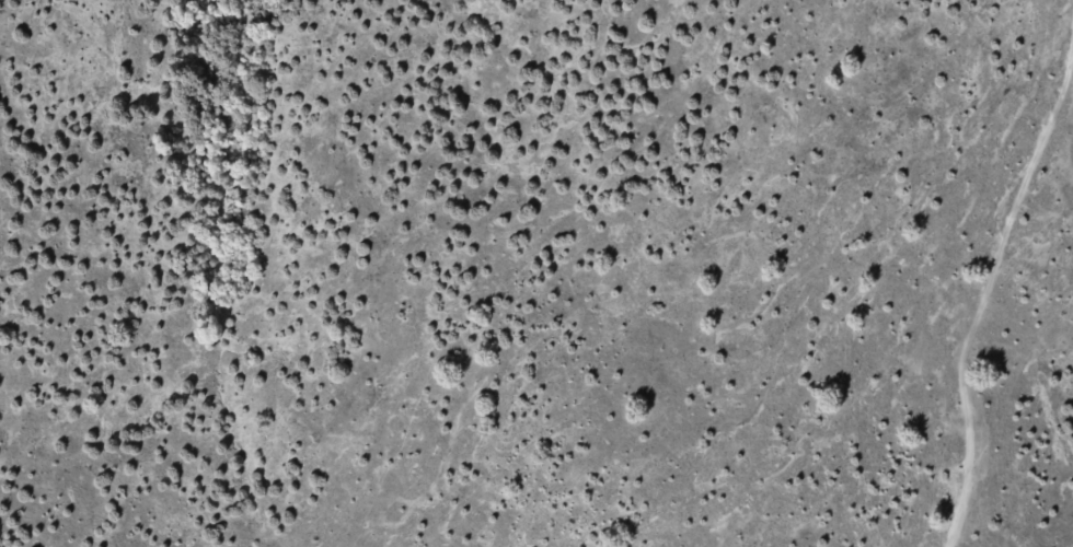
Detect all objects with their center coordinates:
road: (970, 278)

